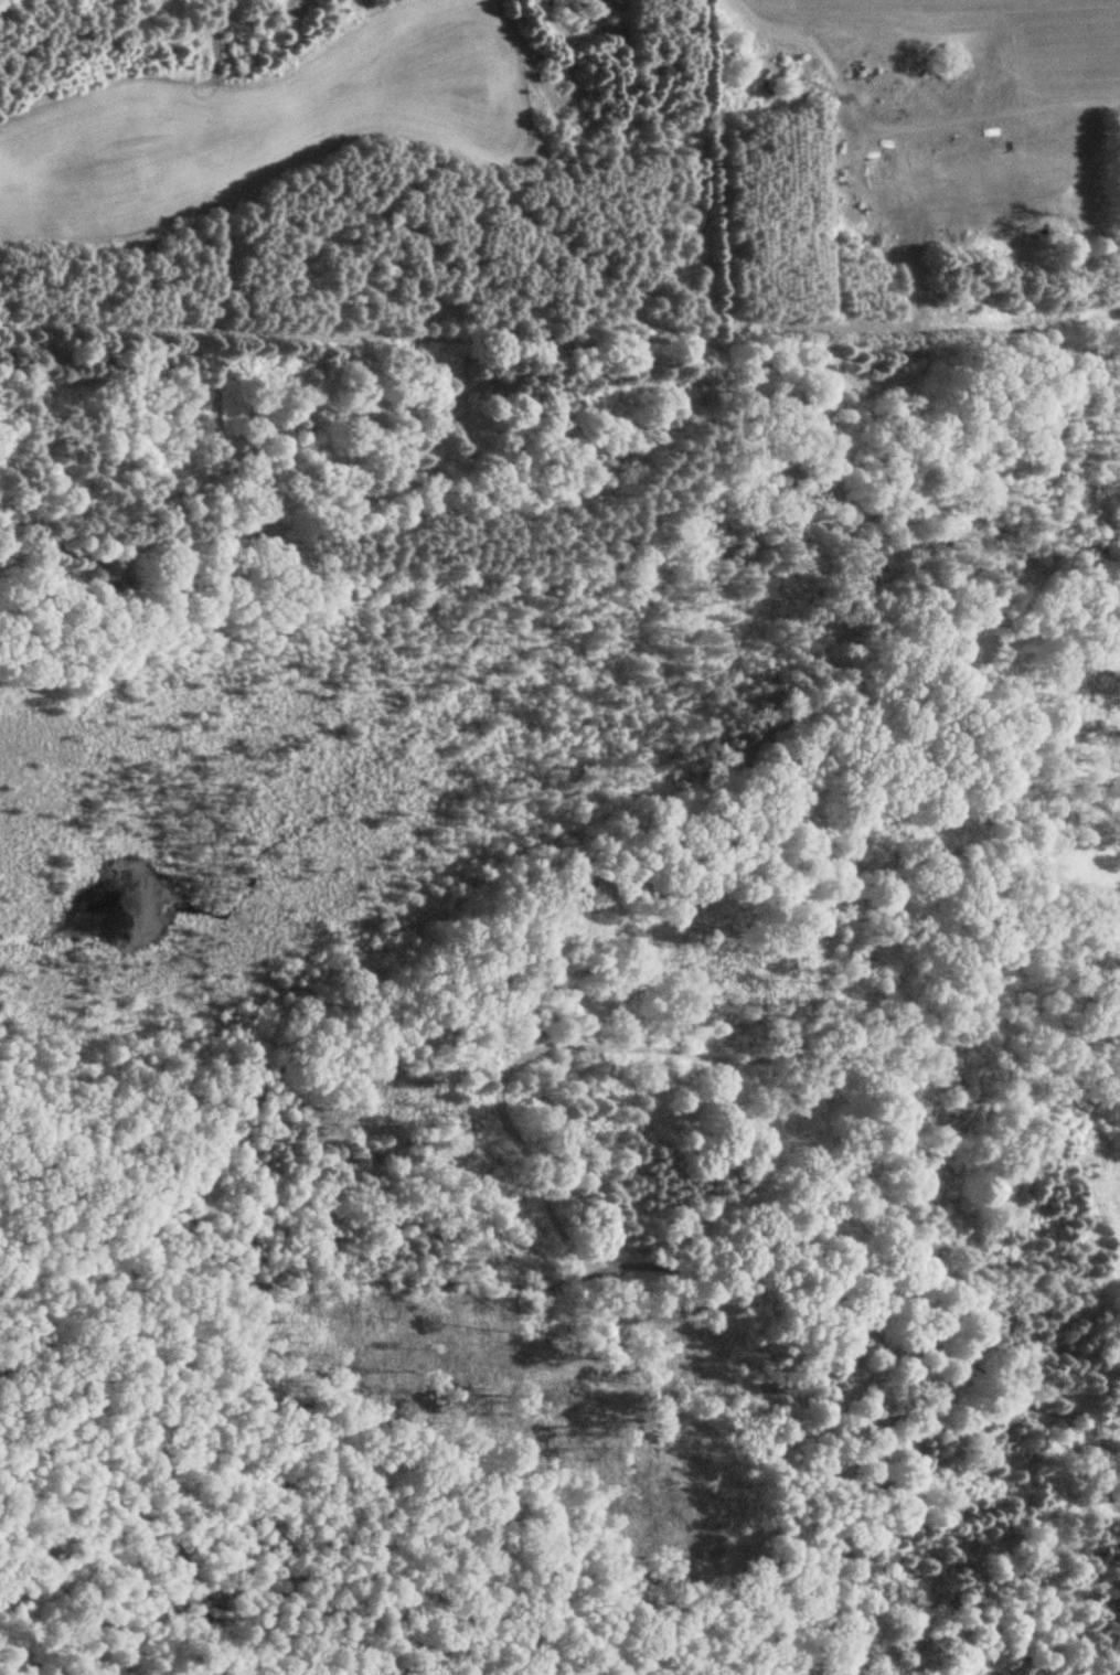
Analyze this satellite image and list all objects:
road: (991, 1496)

